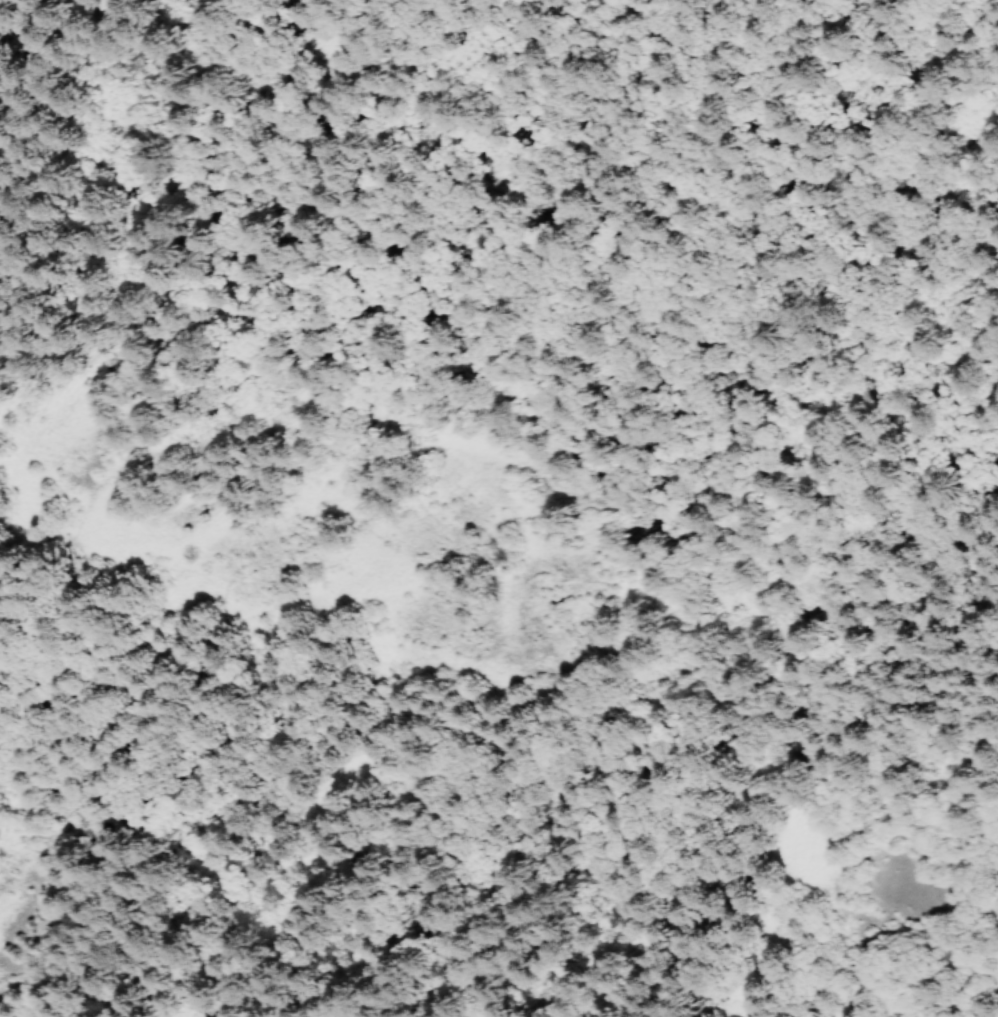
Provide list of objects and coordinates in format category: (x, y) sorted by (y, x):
road: (573, 505)

